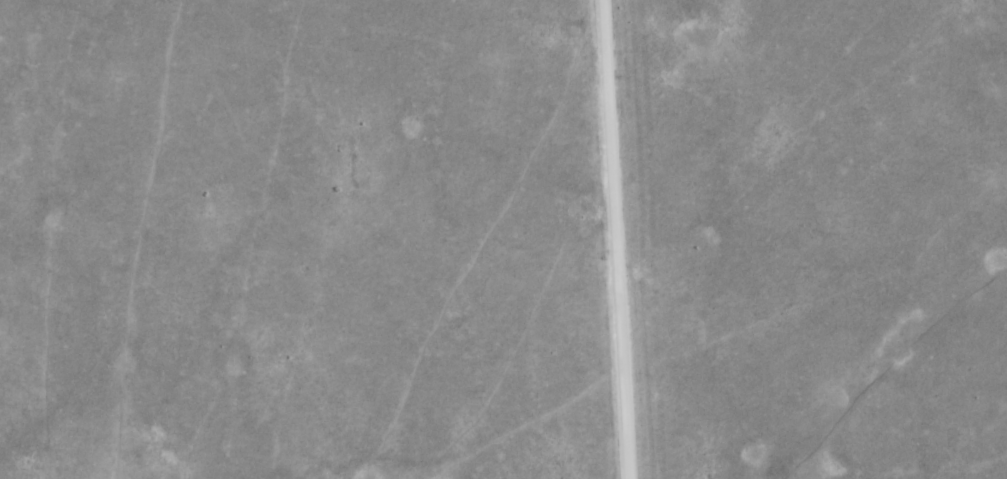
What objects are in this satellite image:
road: (616, 239)

